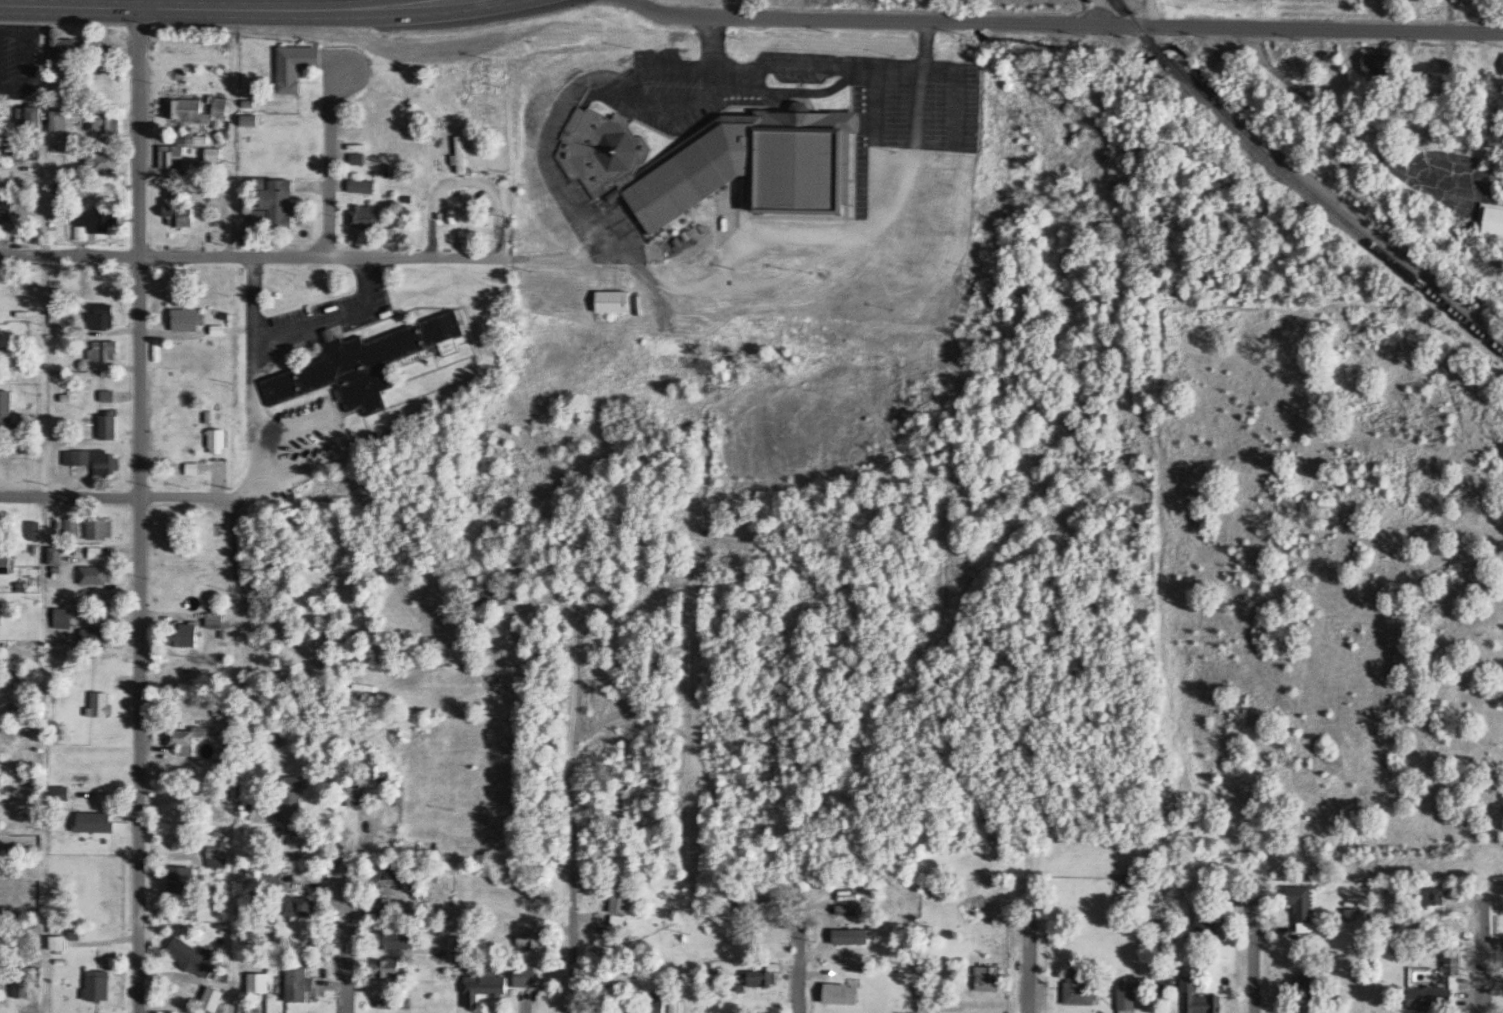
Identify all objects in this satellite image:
road: (335, 5)
road: (148, 8)
road: (645, 8)
road: (415, 12)
road: (1151, 13)
road: (1080, 25)
building: (1377, 64)
road: (479, 159)
road: (327, 160)
railway: (1298, 185)
road: (39, 204)
building: (1491, 221)
road: (252, 259)
road: (244, 379)
road: (70, 497)
road: (140, 510)
road: (667, 557)
road: (238, 559)
road: (457, 636)
road: (623, 652)
road: (693, 659)
road: (573, 813)
building: (1435, 894)
road: (329, 898)
building: (1302, 905)
building: (847, 907)
building: (1205, 914)
building: (852, 934)
road: (1030, 949)
building: (1454, 960)
road: (799, 967)
road: (1256, 969)
road: (1474, 974)
building: (989, 976)
building: (1080, 987)
building: (843, 992)
building: (1127, 995)
building: (1197, 997)
building: (1430, 997)

